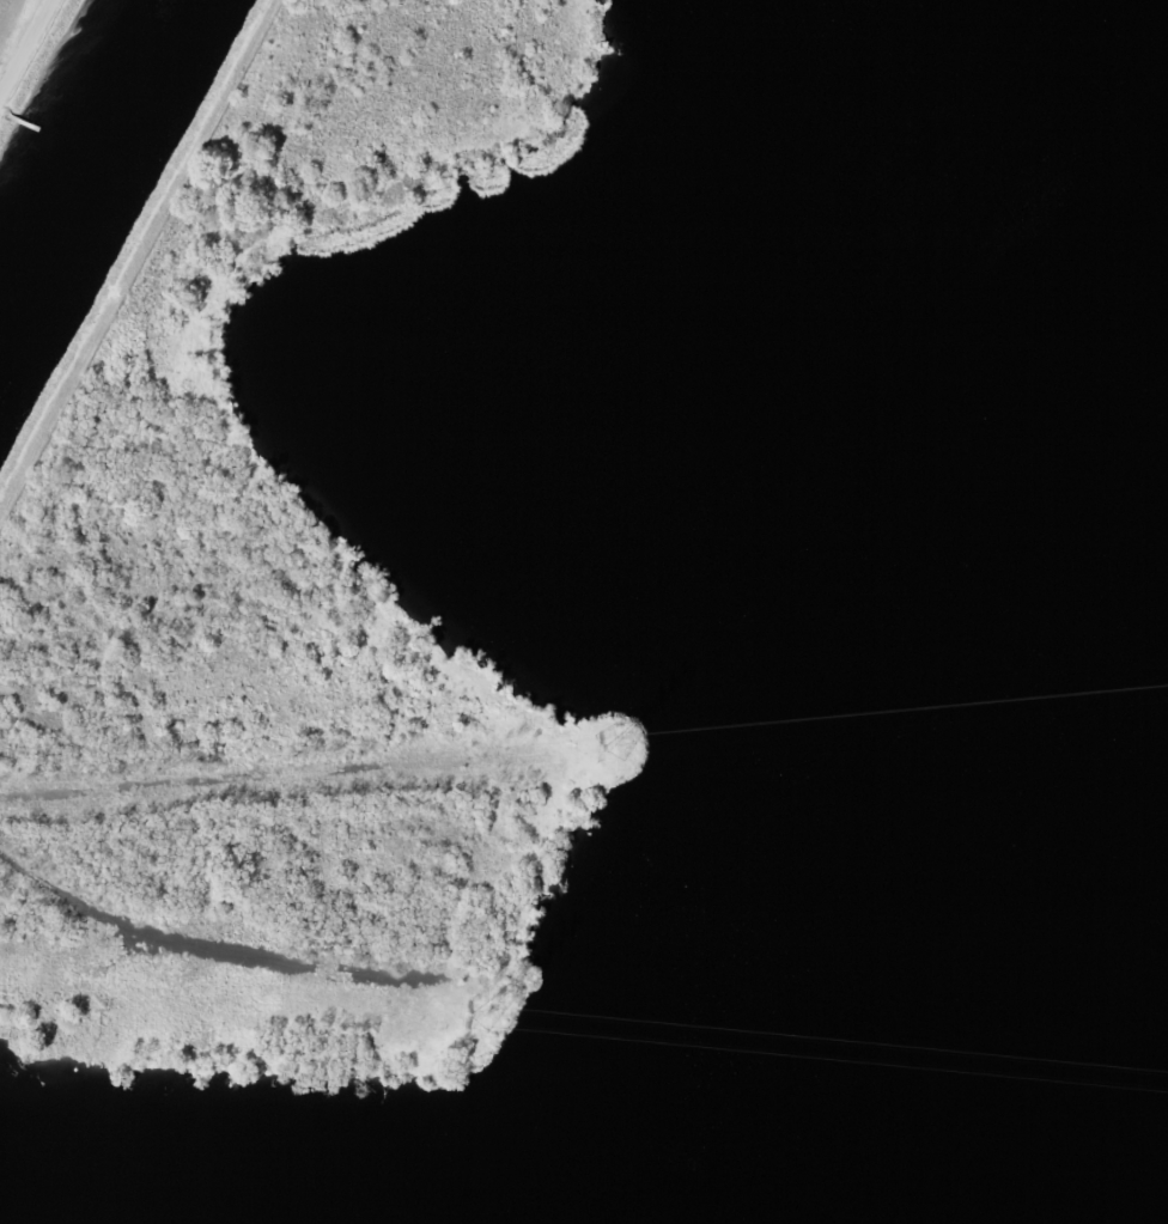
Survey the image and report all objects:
road: (28, 51)
power tower: (610, 747)
power tower: (481, 1016)

